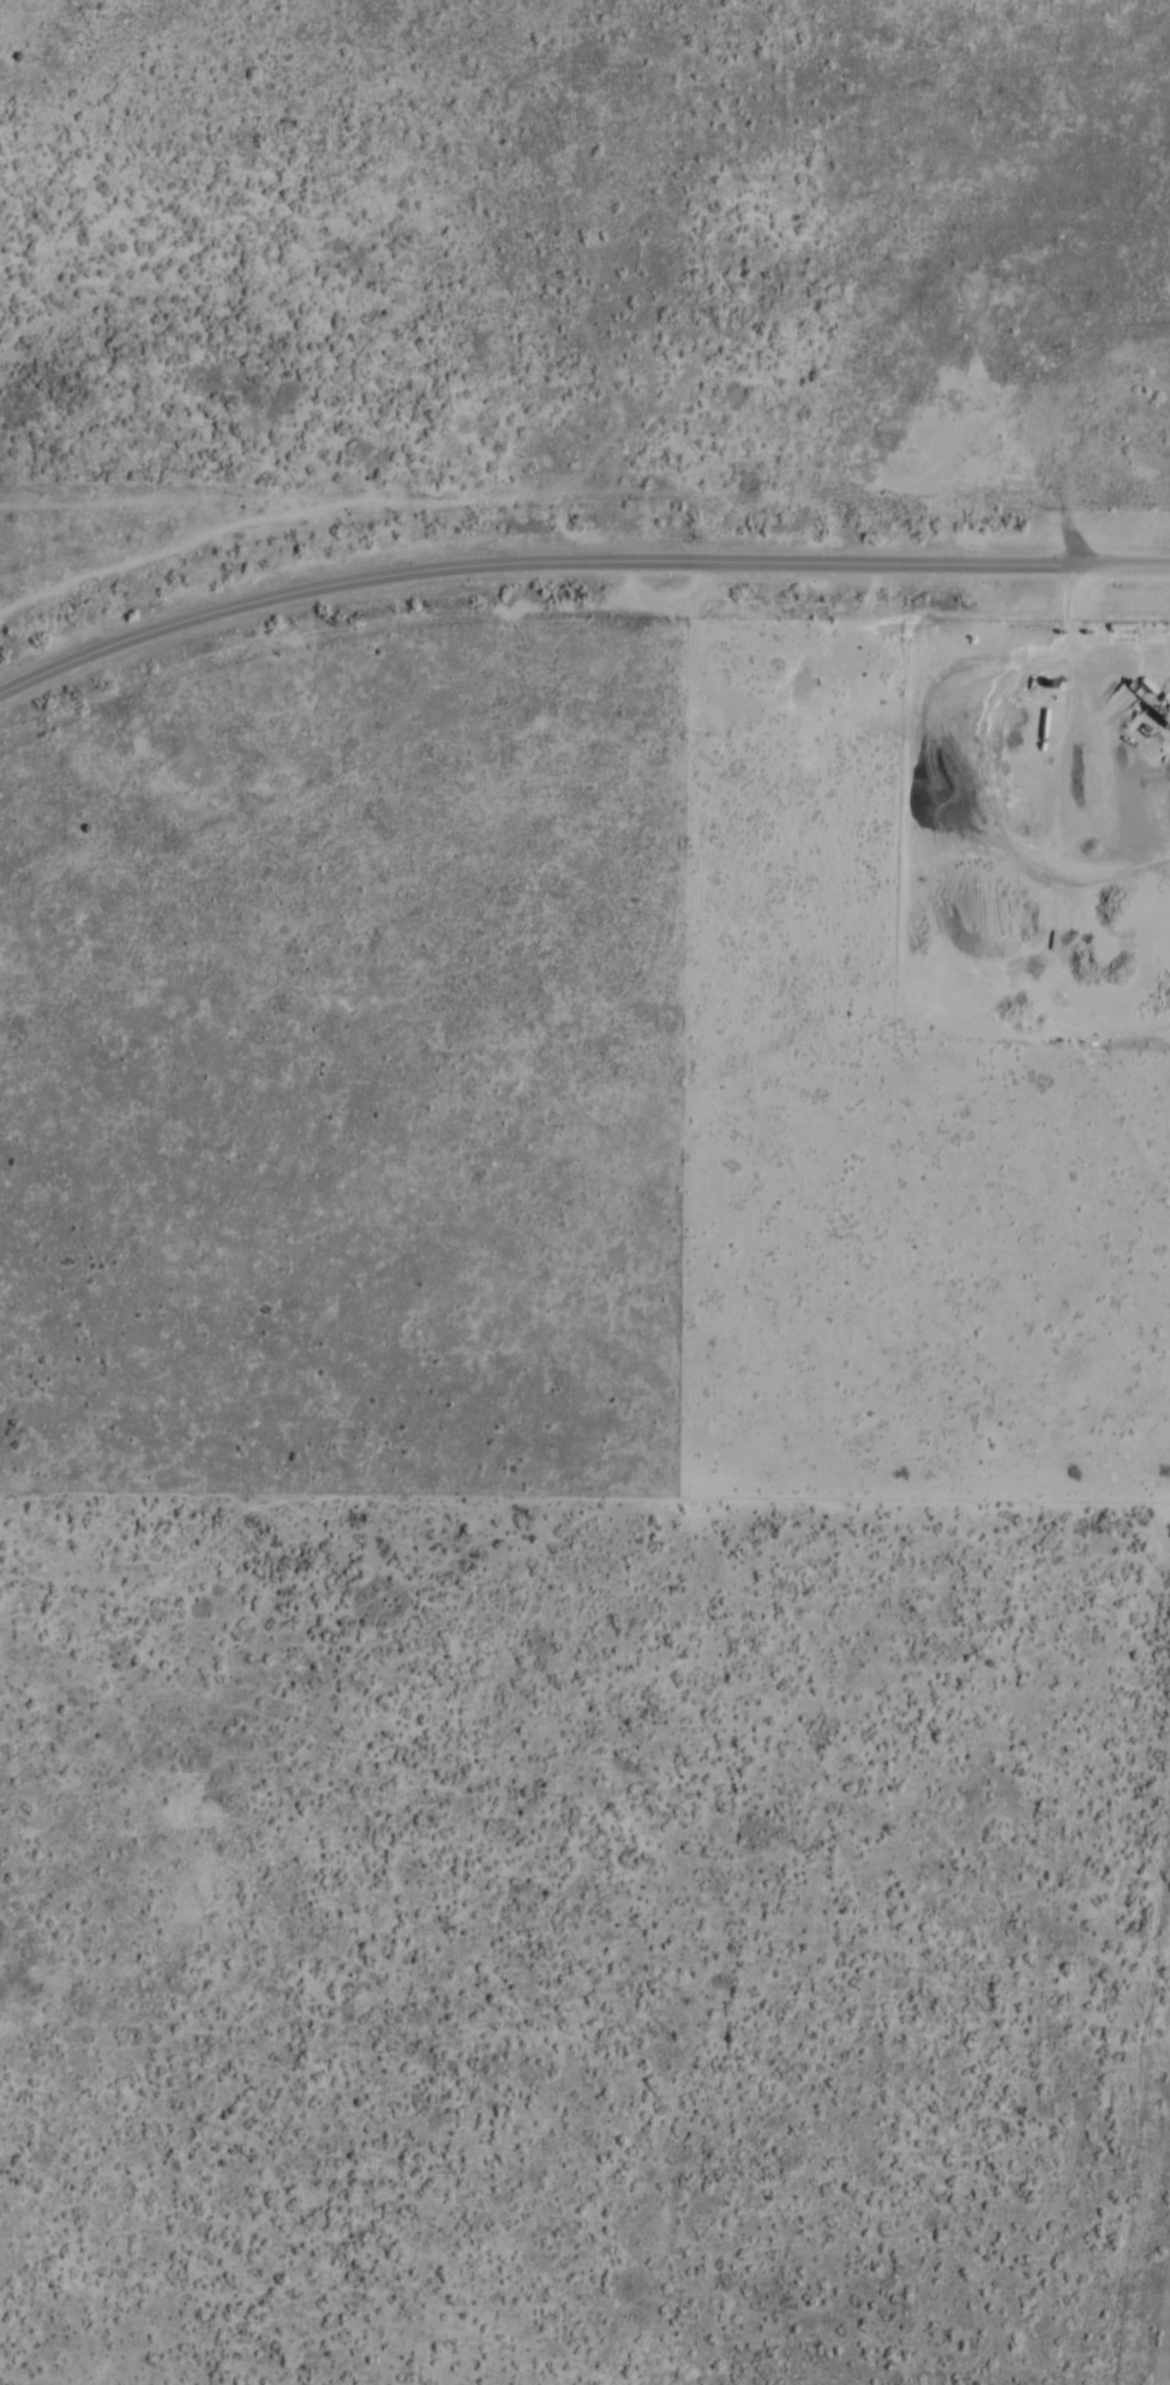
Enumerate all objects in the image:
road: (575, 564)
building: (1050, 971)

